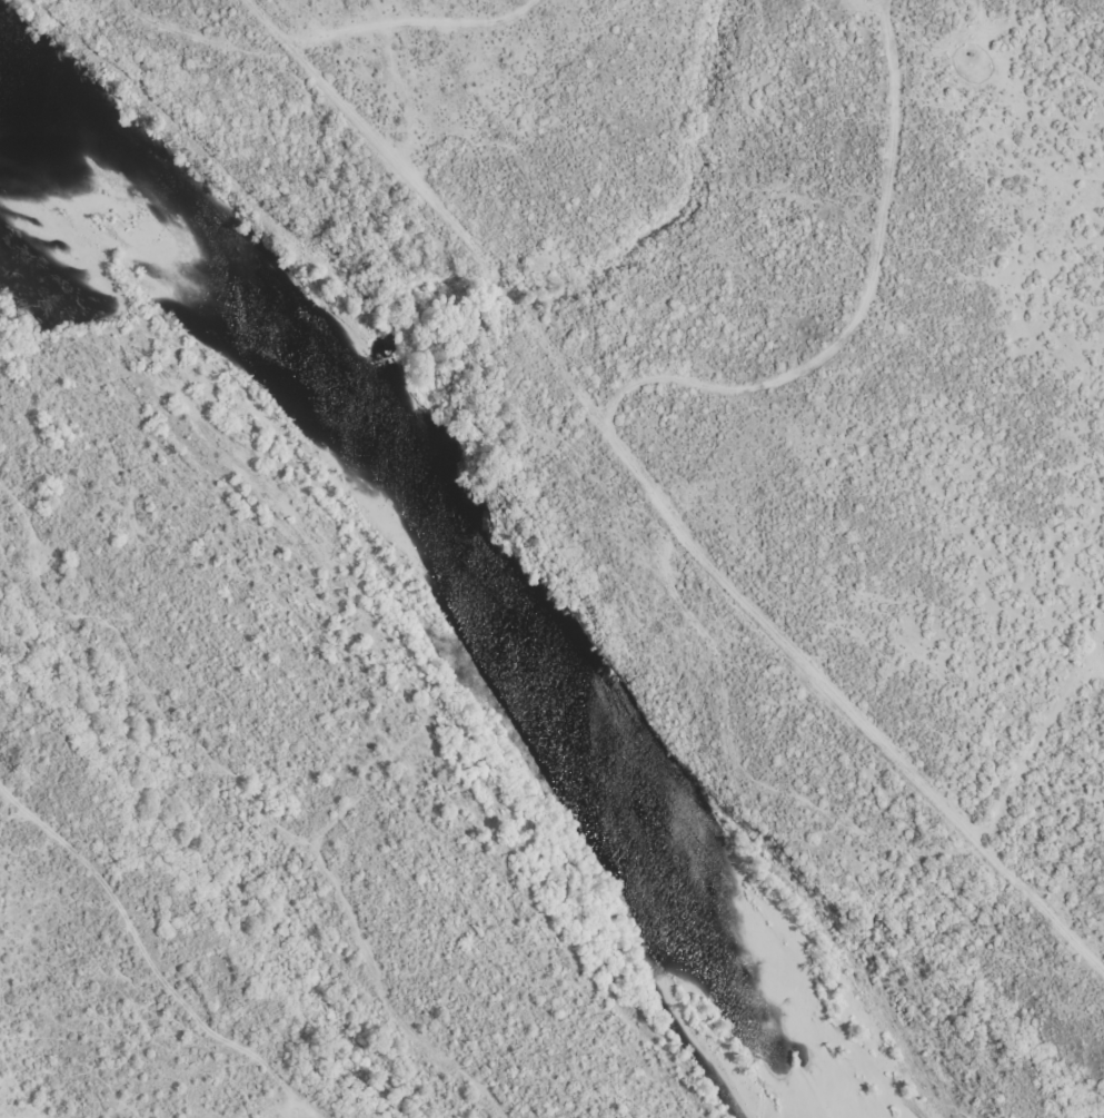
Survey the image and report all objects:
river: (437, 563)

